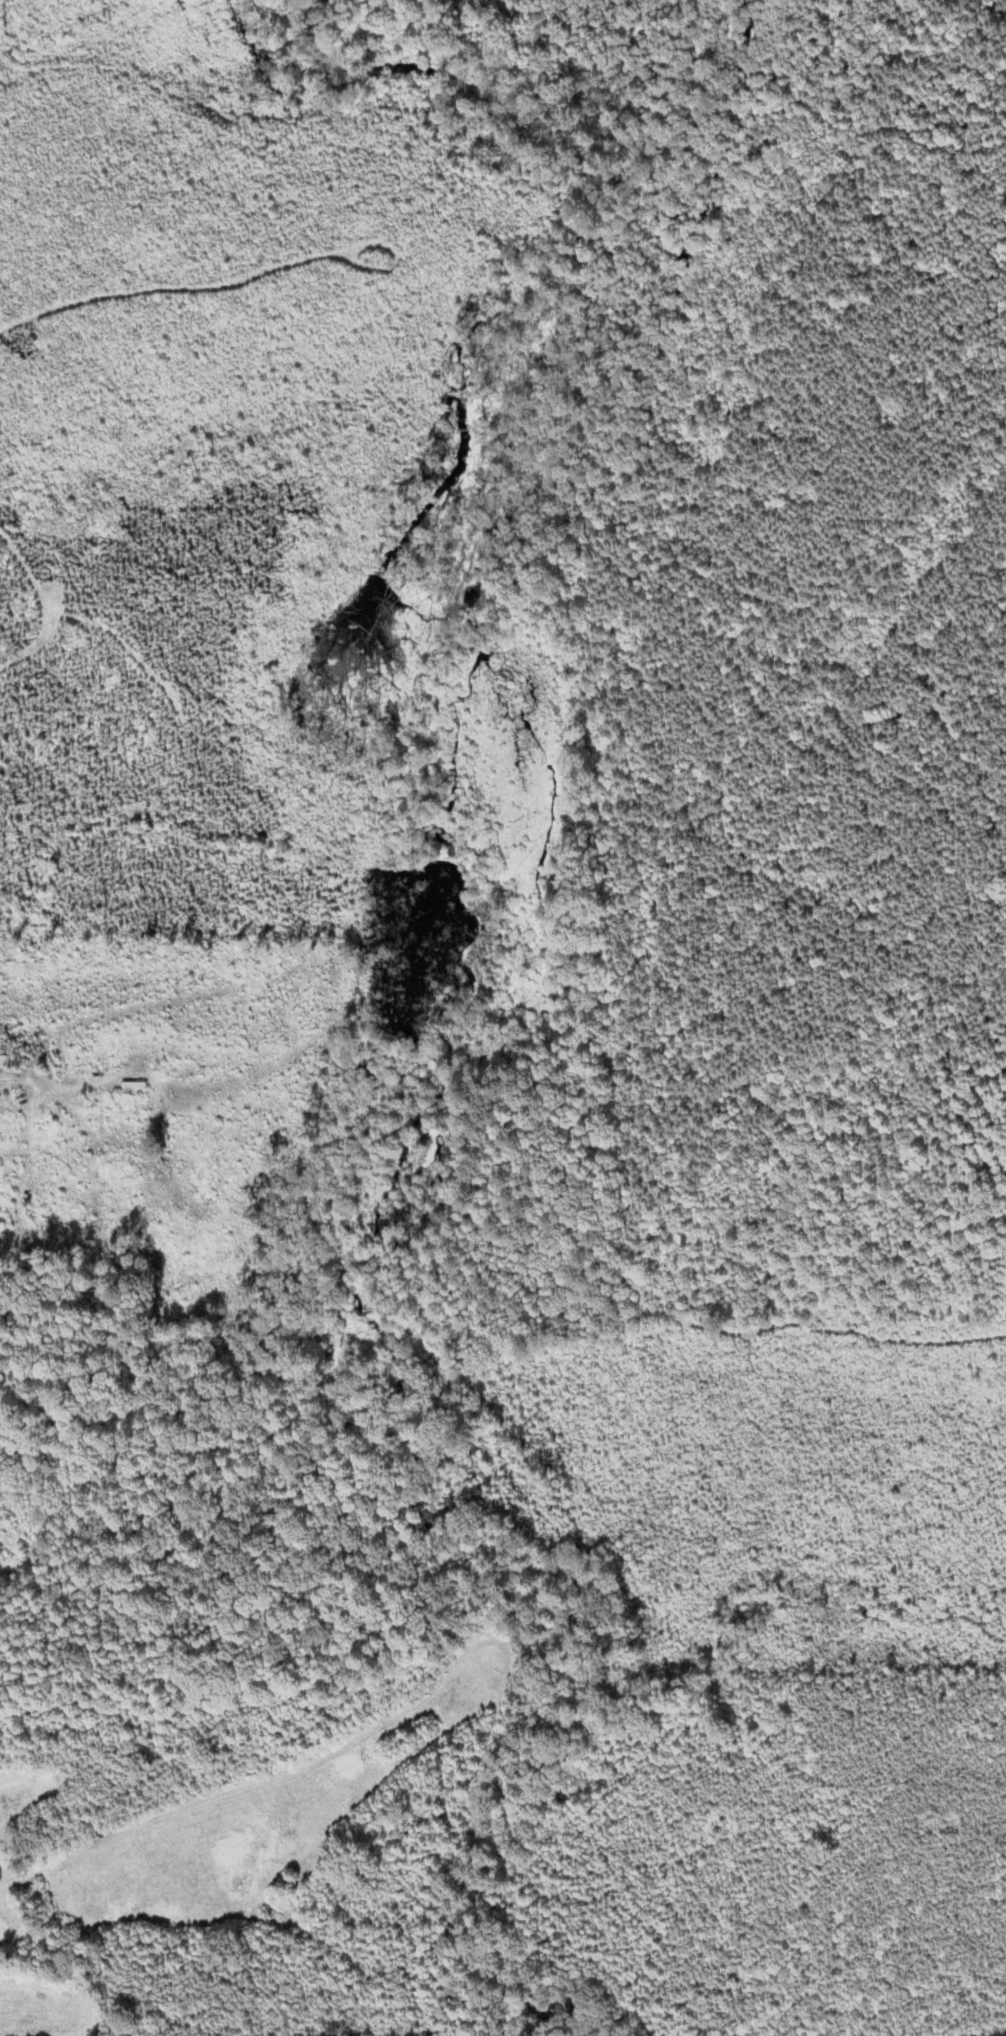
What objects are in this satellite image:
building: (9, 1064)
building: (132, 1086)

